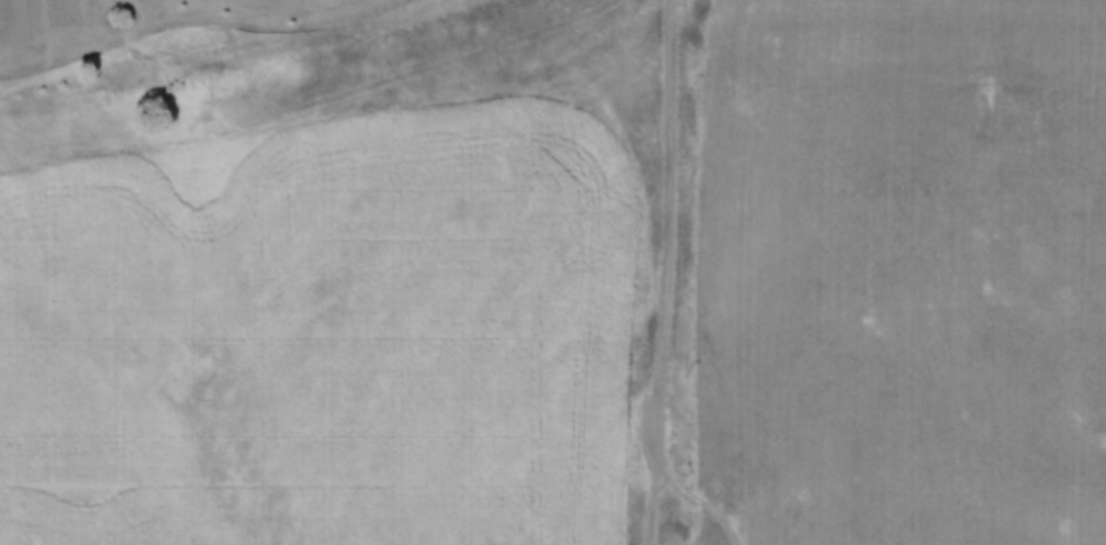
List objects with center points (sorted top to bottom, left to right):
road: (669, 272)
road: (693, 479)

